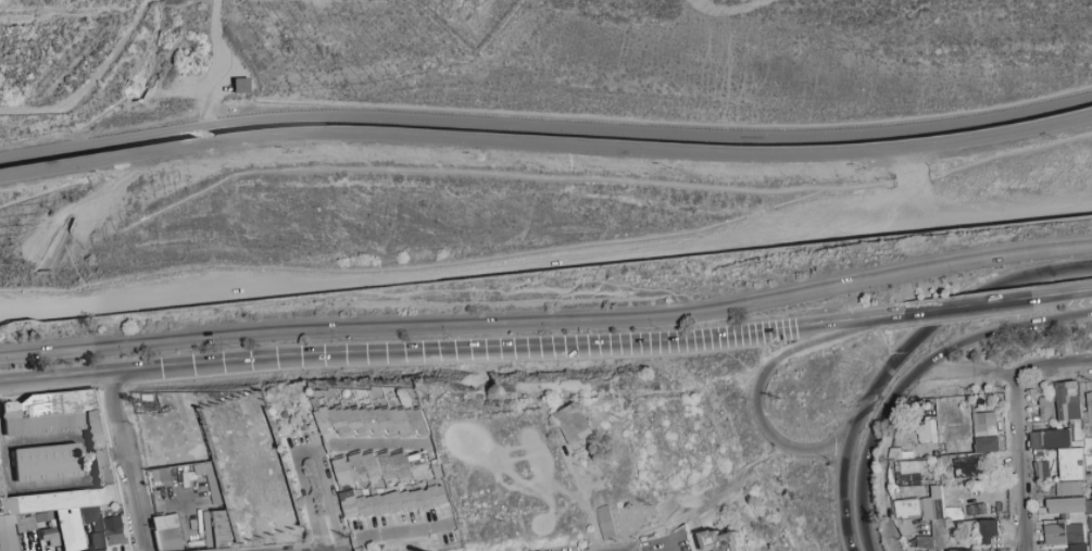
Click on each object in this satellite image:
road: (216, 63)
road: (88, 79)
building: (240, 85)
road: (651, 133)
road: (210, 135)
road: (103, 142)
road: (545, 143)
road: (914, 185)
road: (545, 263)
road: (1062, 295)
road: (951, 304)
road: (968, 309)
road: (548, 320)
road: (993, 333)
road: (554, 348)
road: (999, 367)
road: (101, 372)
building: (1069, 389)
building: (1090, 391)
building: (1089, 396)
building: (1045, 402)
building: (1063, 403)
building: (912, 404)
building: (396, 405)
building: (343, 408)
building: (404, 408)
building: (1074, 408)
building: (321, 409)
road: (753, 409)
building: (972, 410)
building: (1089, 411)
building: (51, 412)
building: (24, 414)
building: (288, 414)
building: (1045, 414)
building: (931, 418)
building: (342, 419)
building: (373, 419)
building: (388, 419)
building: (1037, 419)
building: (1084, 419)
building: (327, 421)
building: (357, 421)
building: (403, 421)
building: (419, 421)
building: (573, 423)
building: (990, 424)
building: (980, 425)
building: (1060, 425)
building: (1068, 425)
building: (974, 426)
building: (1038, 426)
building: (962, 427)
building: (336, 428)
building: (97, 429)
building: (332, 429)
building: (1076, 429)
building: (927, 430)
building: (343, 431)
building: (359, 431)
building: (369, 431)
building: (374, 431)
building: (385, 431)
building: (388, 431)
building: (404, 431)
building: (415, 431)
building: (418, 431)
building: (1085, 431)
building: (1090, 431)
building: (340, 433)
building: (355, 433)
building: (400, 433)
building: (348, 434)
building: (378, 434)
building: (393, 434)
building: (331, 435)
building: (363, 435)
building: (407, 435)
building: (423, 435)
building: (951, 436)
building: (1055, 438)
road: (305, 440)
road: (364, 441)
building: (925, 441)
building: (966, 441)
building: (1076, 443)
building: (987, 444)
building: (218, 448)
building: (214, 449)
building: (946, 449)
road: (161, 453)
building: (912, 453)
building: (936, 453)
building: (895, 454)
building: (1088, 454)
road: (108, 455)
building: (903, 455)
road: (1016, 458)
road: (861, 459)
road: (127, 461)
building: (49, 462)
building: (435, 462)
building: (1070, 463)
building: (373, 465)
building: (388, 465)
building: (403, 465)
road: (8, 466)
building: (104, 466)
building: (418, 466)
building: (898, 466)
building: (968, 466)
building: (359, 467)
building: (0, 468)
building: (1040, 471)
building: (344, 472)
building: (430, 473)
building: (911, 473)
building: (428, 474)
building: (391, 477)
building: (406, 477)
building: (441, 478)
building: (377, 479)
building: (933, 480)
building: (416, 481)
road: (838, 481)
building: (924, 483)
building: (343, 486)
building: (369, 486)
building: (1, 487)
building: (896, 489)
building: (360, 493)
building: (439, 494)
building: (424, 499)
building: (60, 500)
road: (330, 500)
building: (410, 500)
building: (396, 502)
road: (585, 503)
building: (380, 504)
building: (437, 505)
road: (309, 506)
building: (366, 506)
building: (352, 508)
building: (423, 509)
building: (407, 510)
building: (393, 513)
building: (89, 514)
building: (378, 514)
building: (46, 516)
building: (364, 516)
building: (7, 519)
building: (26, 522)
building: (604, 523)
building: (50, 524)
building: (98, 526)
building: (215, 528)
building: (71, 529)
building: (114, 530)
building: (987, 530)
building: (168, 533)
building: (53, 534)
building: (9, 539)
building: (36, 539)
building: (99, 541)
building: (237, 544)
building: (61, 548)
building: (102, 550)

